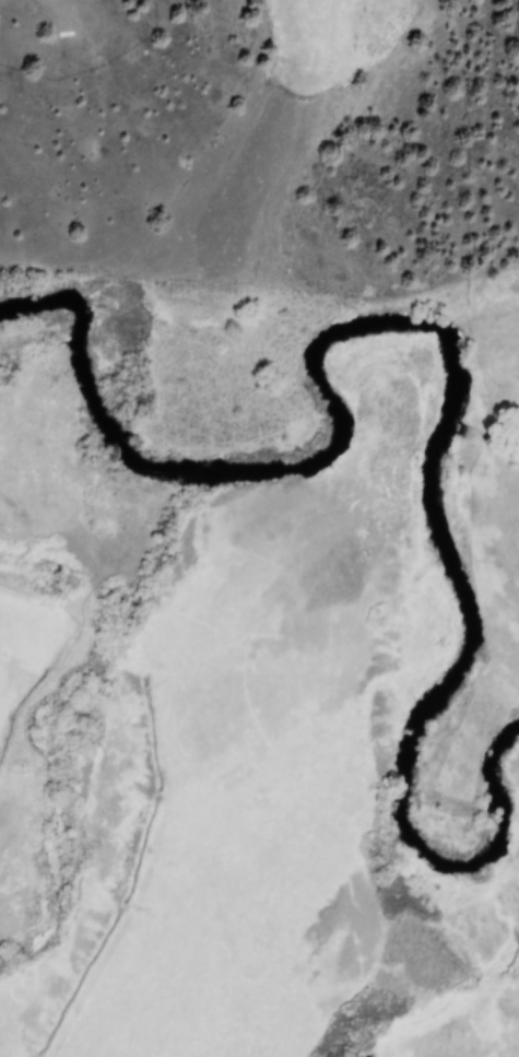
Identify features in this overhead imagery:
river: (73, 388)
river: (325, 421)
river: (434, 695)

